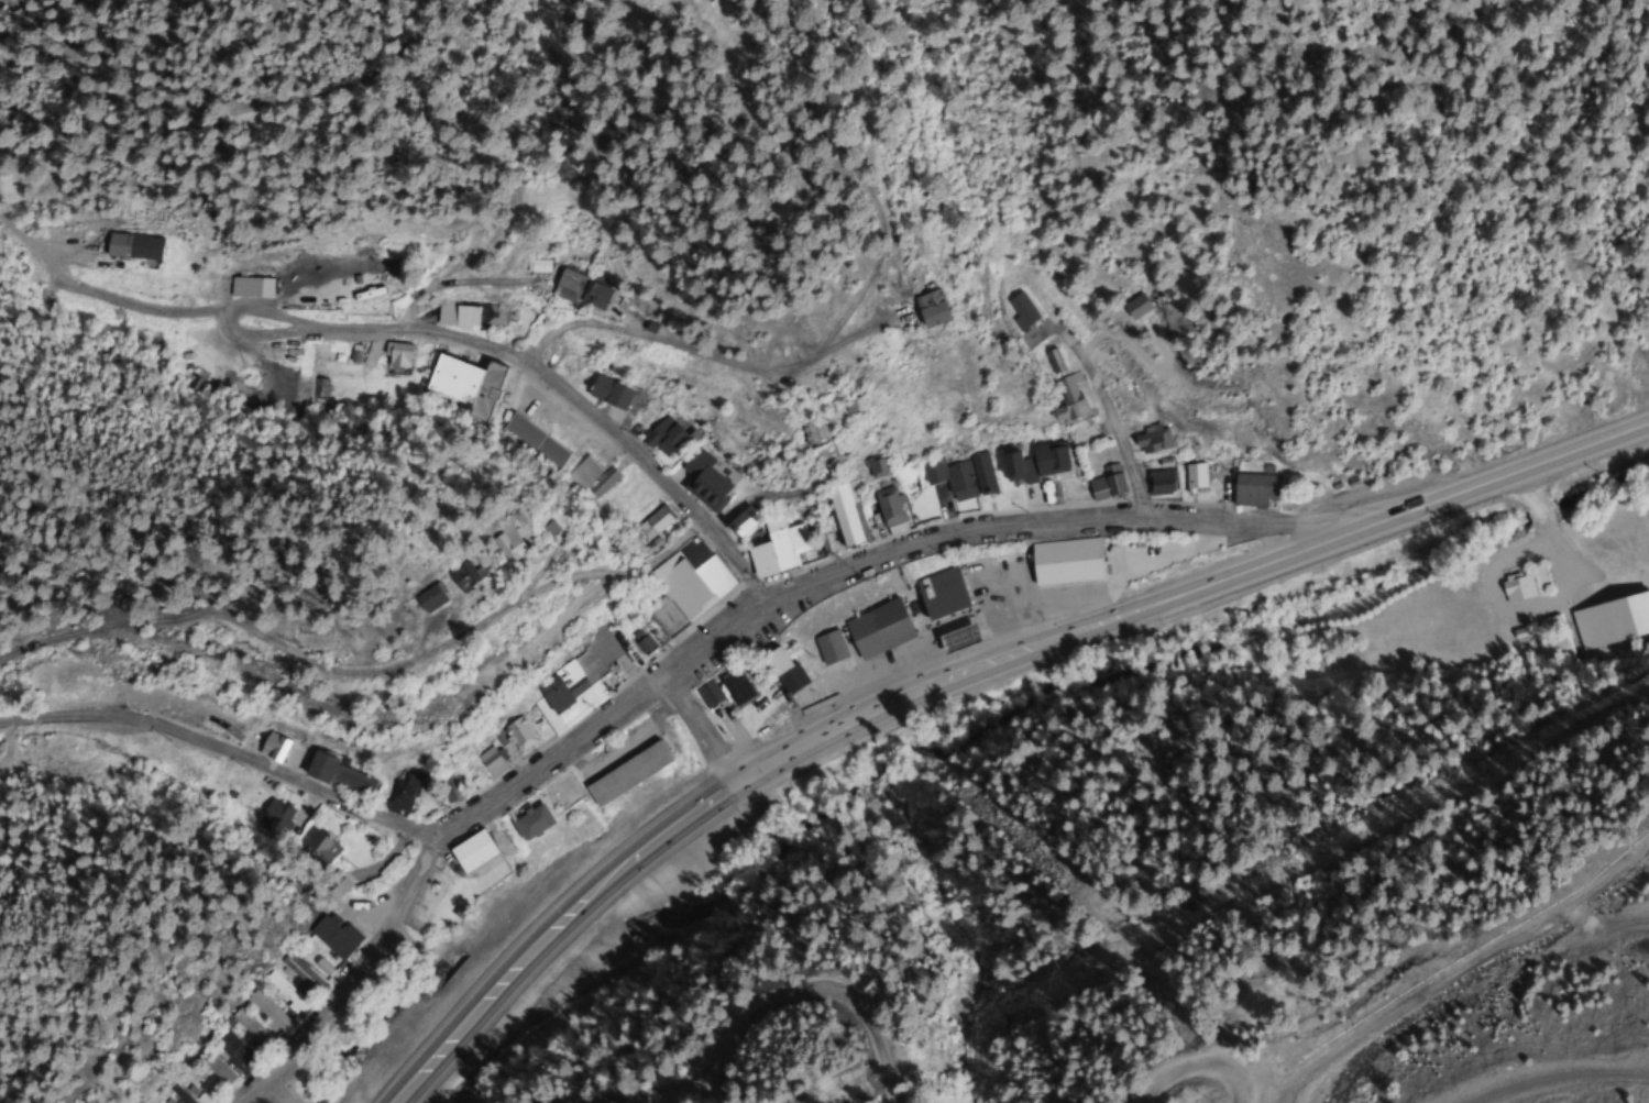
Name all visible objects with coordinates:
building: (574, 190)
building: (130, 246)
building: (249, 287)
building: (578, 290)
road: (414, 304)
building: (1131, 308)
building: (1020, 312)
building: (454, 315)
building: (921, 316)
road: (487, 340)
road: (686, 345)
building: (551, 354)
building: (396, 360)
building: (464, 385)
building: (318, 388)
building: (606, 393)
building: (1066, 399)
building: (843, 408)
road: (1117, 430)
building: (806, 432)
building: (662, 438)
building: (534, 440)
building: (1150, 441)
building: (1033, 462)
building: (873, 465)
building: (980, 474)
building: (589, 477)
building: (948, 477)
building: (1194, 477)
building: (704, 483)
building: (1158, 483)
building: (1106, 484)
building: (1253, 489)
road: (749, 499)
building: (886, 507)
building: (843, 515)
building: (740, 522)
building: (653, 523)
building: (774, 547)
building: (501, 548)
building: (1064, 562)
building: (1516, 586)
building: (685, 588)
building: (435, 589)
building: (938, 594)
building: (1612, 620)
building: (865, 633)
building: (956, 639)
road: (1066, 642)
road: (713, 643)
building: (642, 646)
building: (576, 669)
road: (362, 672)
building: (781, 672)
building: (735, 690)
building: (706, 695)
road: (700, 732)
building: (517, 735)
road: (226, 752)
building: (490, 762)
building: (625, 774)
building: (337, 776)
building: (399, 794)
building: (274, 816)
building: (529, 824)
building: (317, 849)
building: (470, 852)
building: (336, 935)
building: (301, 973)
building: (286, 992)
building: (267, 1011)
building: (249, 1027)
road: (475, 1030)
building: (232, 1049)
building: (200, 1081)
road: (281, 1090)
building: (179, 1094)

